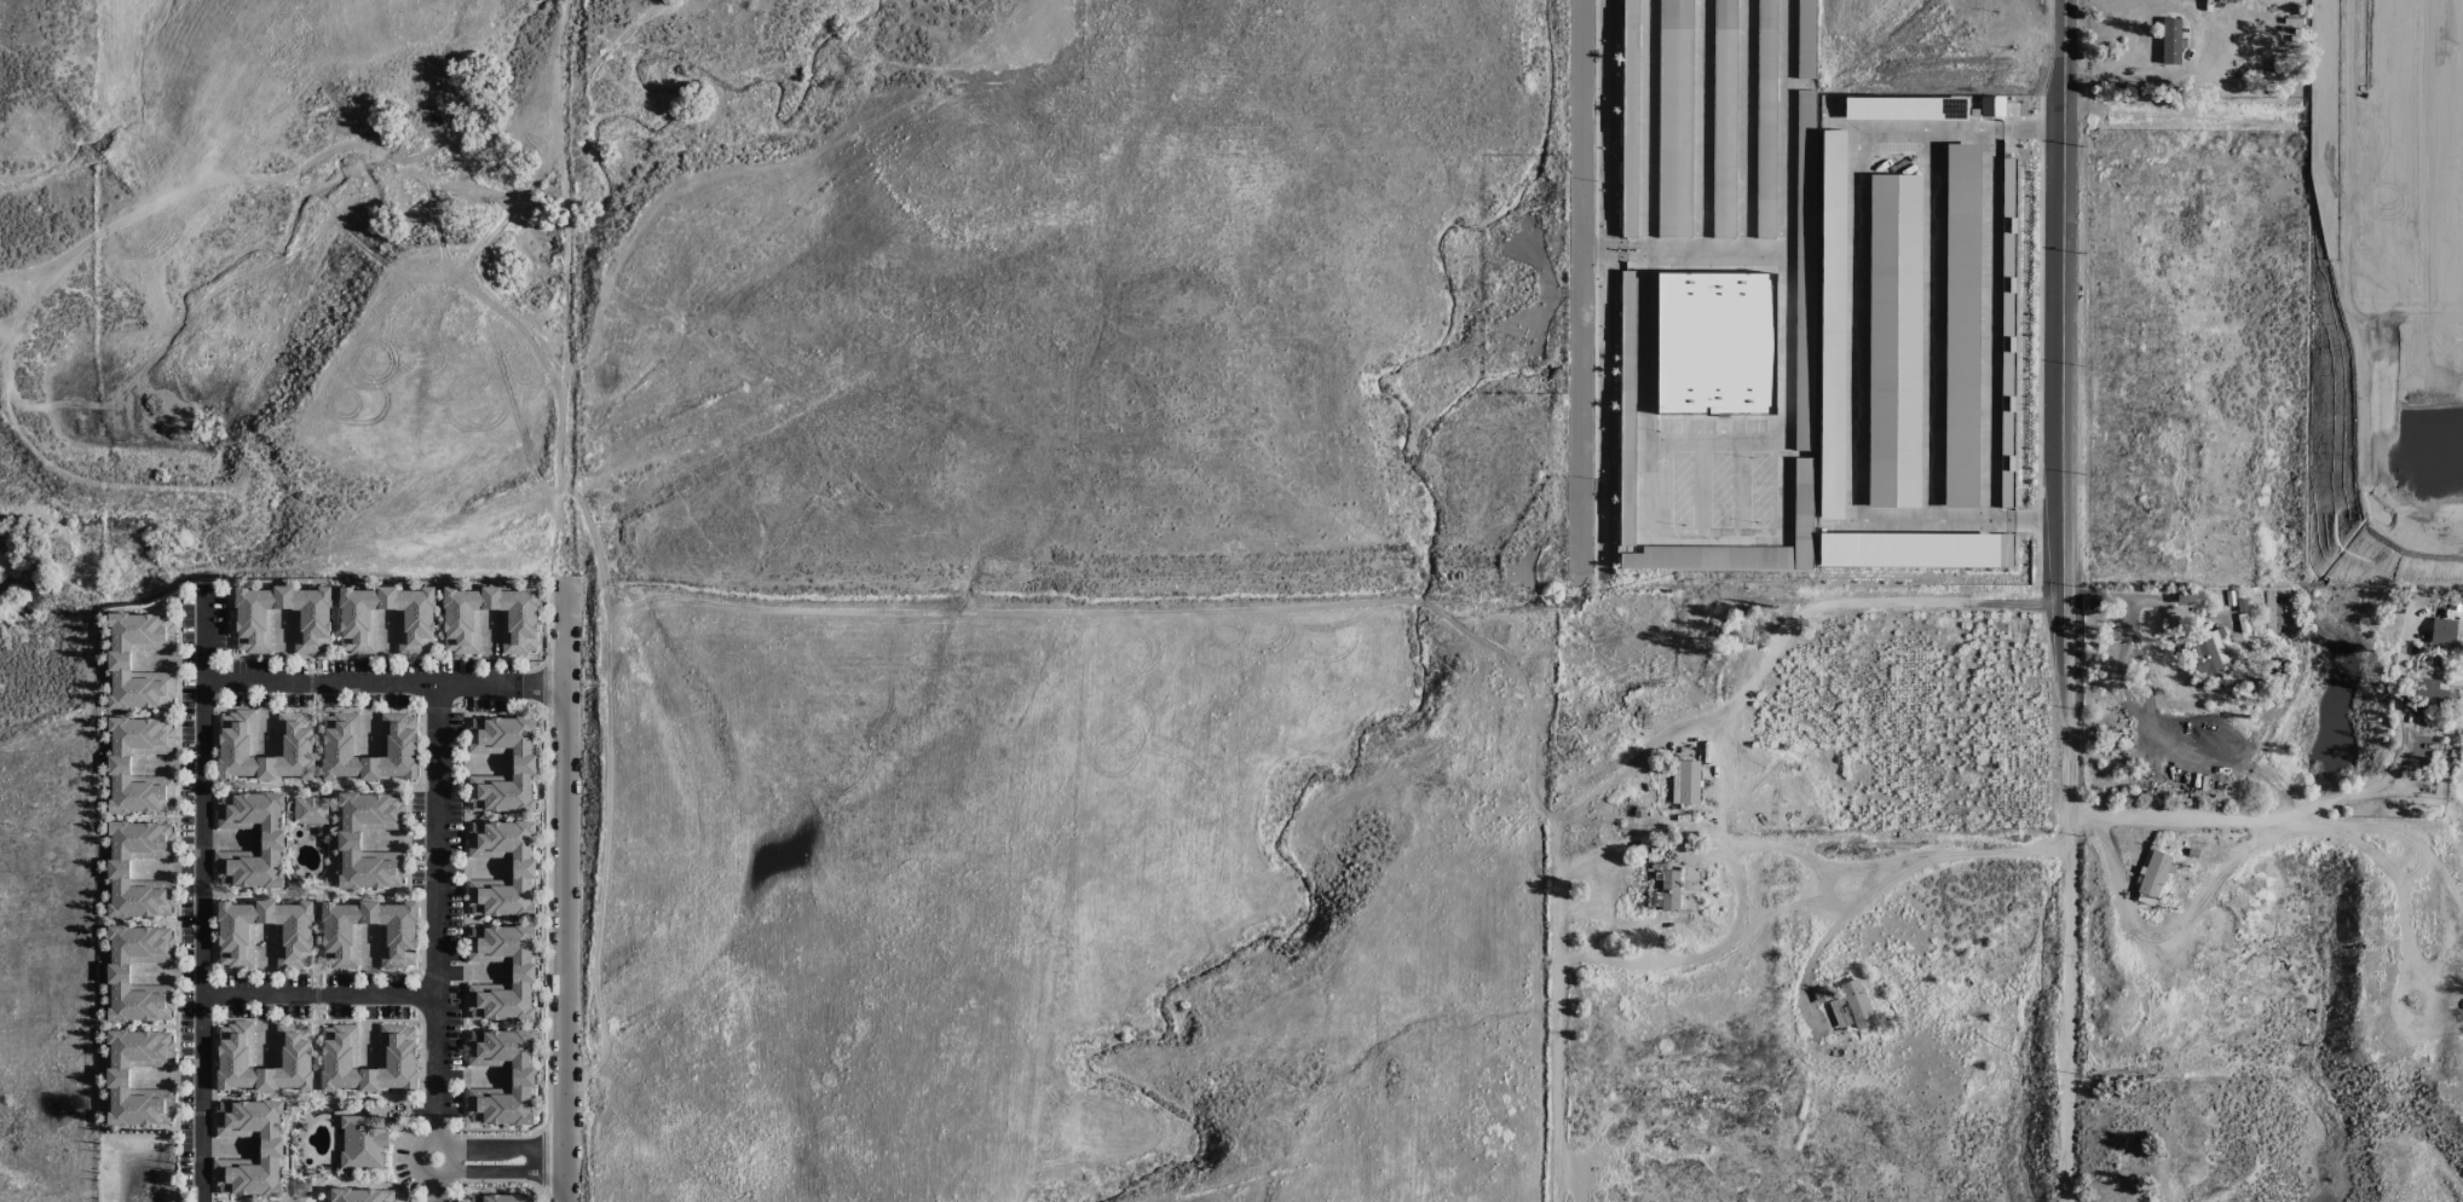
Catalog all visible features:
building: (2170, 41)
road: (2184, 116)
road: (1701, 128)
road: (1744, 128)
building: (1674, 180)
road: (1683, 258)
road: (1581, 288)
road: (1713, 441)
road: (1701, 489)
road: (1740, 490)
road: (15, 512)
road: (1713, 537)
building: (1795, 560)
road: (2081, 601)
road: (156, 607)
building: (312, 618)
building: (462, 618)
building: (416, 628)
road: (1786, 630)
road: (334, 631)
building: (2442, 631)
road: (439, 634)
road: (550, 640)
building: (2208, 655)
building: (122, 658)
road: (382, 658)
road: (385, 682)
road: (550, 682)
building: (2424, 697)
road: (151, 712)
road: (2155, 727)
building: (340, 735)
building: (295, 745)
road: (317, 747)
building: (524, 762)
building: (119, 763)
road: (1720, 779)
building: (1685, 781)
road: (313, 786)
road: (2365, 790)
building: (311, 809)
road: (491, 815)
road: (151, 816)
road: (2190, 822)
building: (319, 827)
road: (2398, 832)
building: (350, 837)
building: (272, 838)
building: (524, 865)
road: (1909, 866)
building: (119, 867)
building: (1667, 886)
road: (1743, 886)
road: (179, 890)
road: (319, 890)
road: (364, 892)
road: (565, 895)
road: (203, 903)
road: (438, 909)
road: (549, 915)
road: (463, 919)
road: (491, 919)
road: (151, 920)
road: (1833, 926)
road: (317, 930)
building: (294, 941)
building: (340, 941)
road: (422, 960)
building: (119, 971)
building: (524, 971)
road: (321, 989)
building: (1853, 1004)
road: (1558, 1011)
road: (489, 1023)
road: (150, 1025)
road: (421, 1050)
building: (340, 1056)
building: (293, 1057)
building: (524, 1073)
building: (119, 1075)
road: (267, 1096)
road: (212, 1109)
building: (302, 1126)
road: (490, 1127)
building: (363, 1140)
building: (271, 1146)
road: (508, 1148)
building: (299, 1149)
road: (414, 1150)
road: (392, 1151)
road: (287, 1155)
road: (548, 1155)
road: (508, 1169)
road: (352, 1179)
road: (500, 1181)
road: (439, 1190)
building: (359, 1194)
building: (507, 1196)

